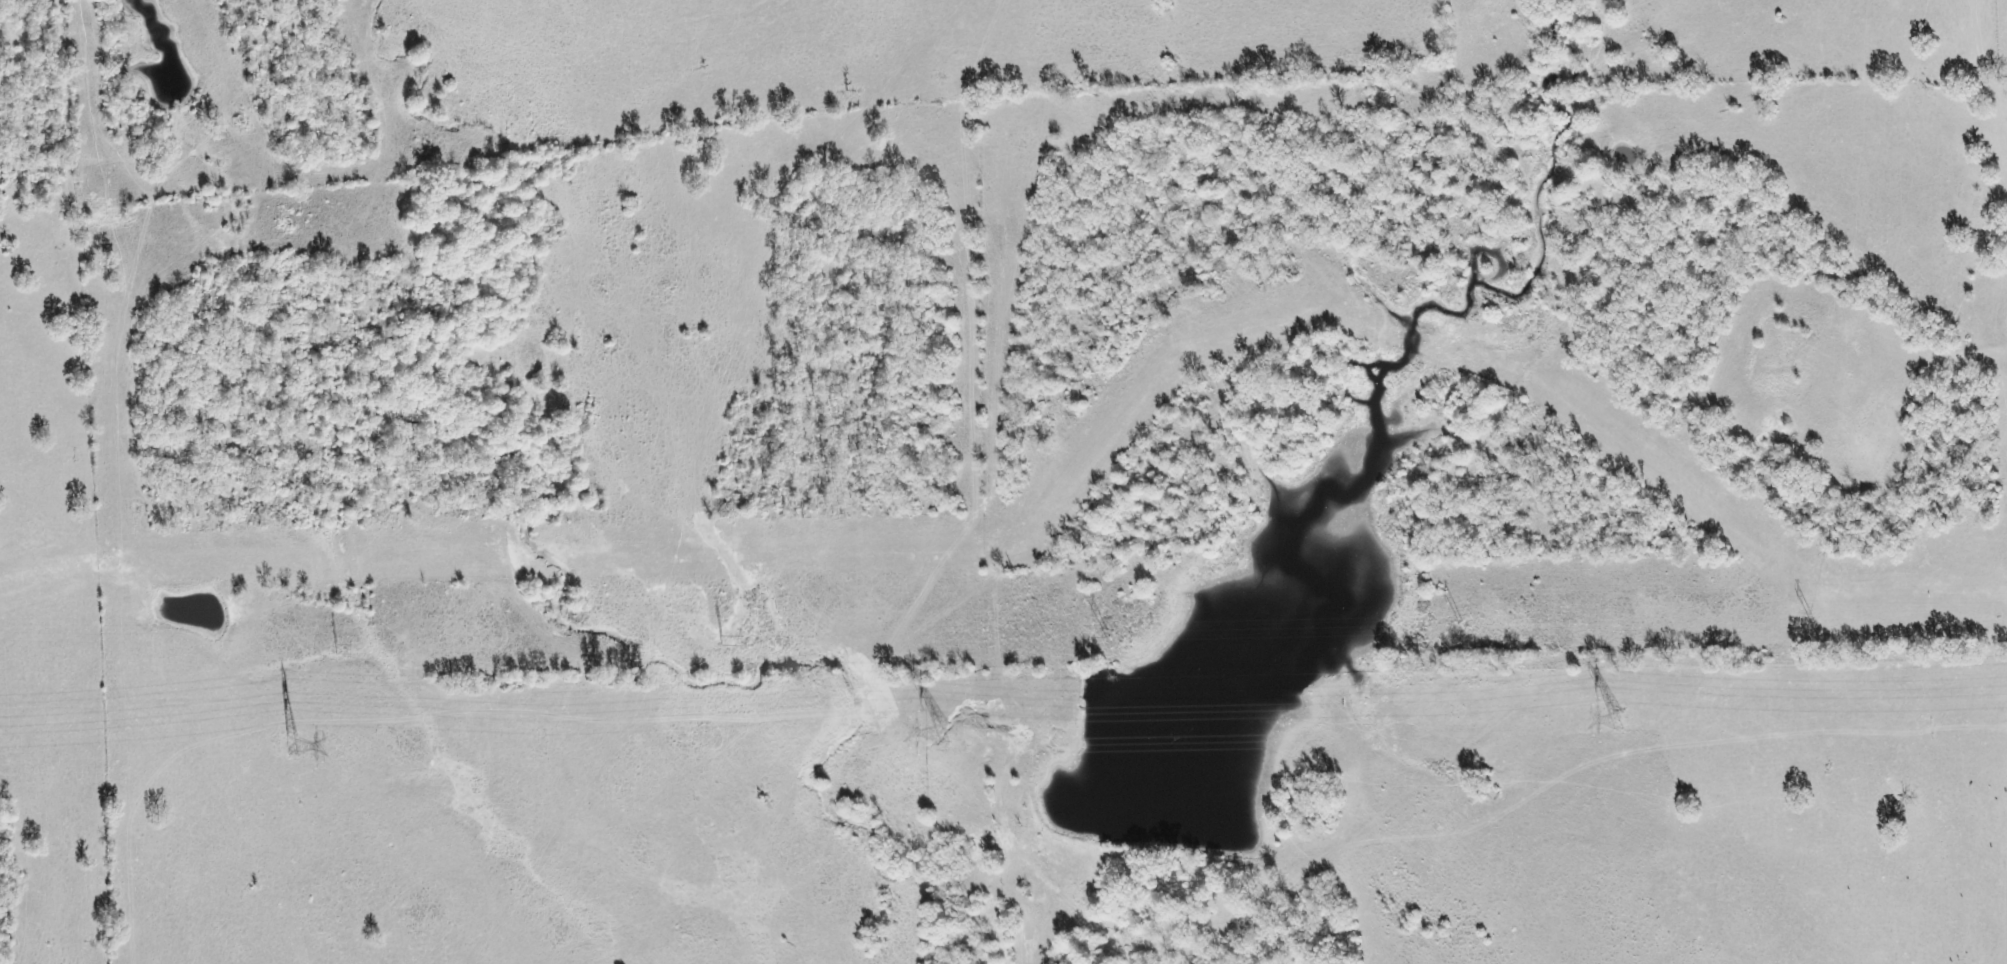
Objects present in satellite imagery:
power tower: (1826, 621)
power tower: (1479, 626)
power tower: (1120, 633)
power tower: (737, 643)
power tower: (348, 651)
power tower: (1619, 721)
power tower: (943, 735)
power tower: (293, 747)

